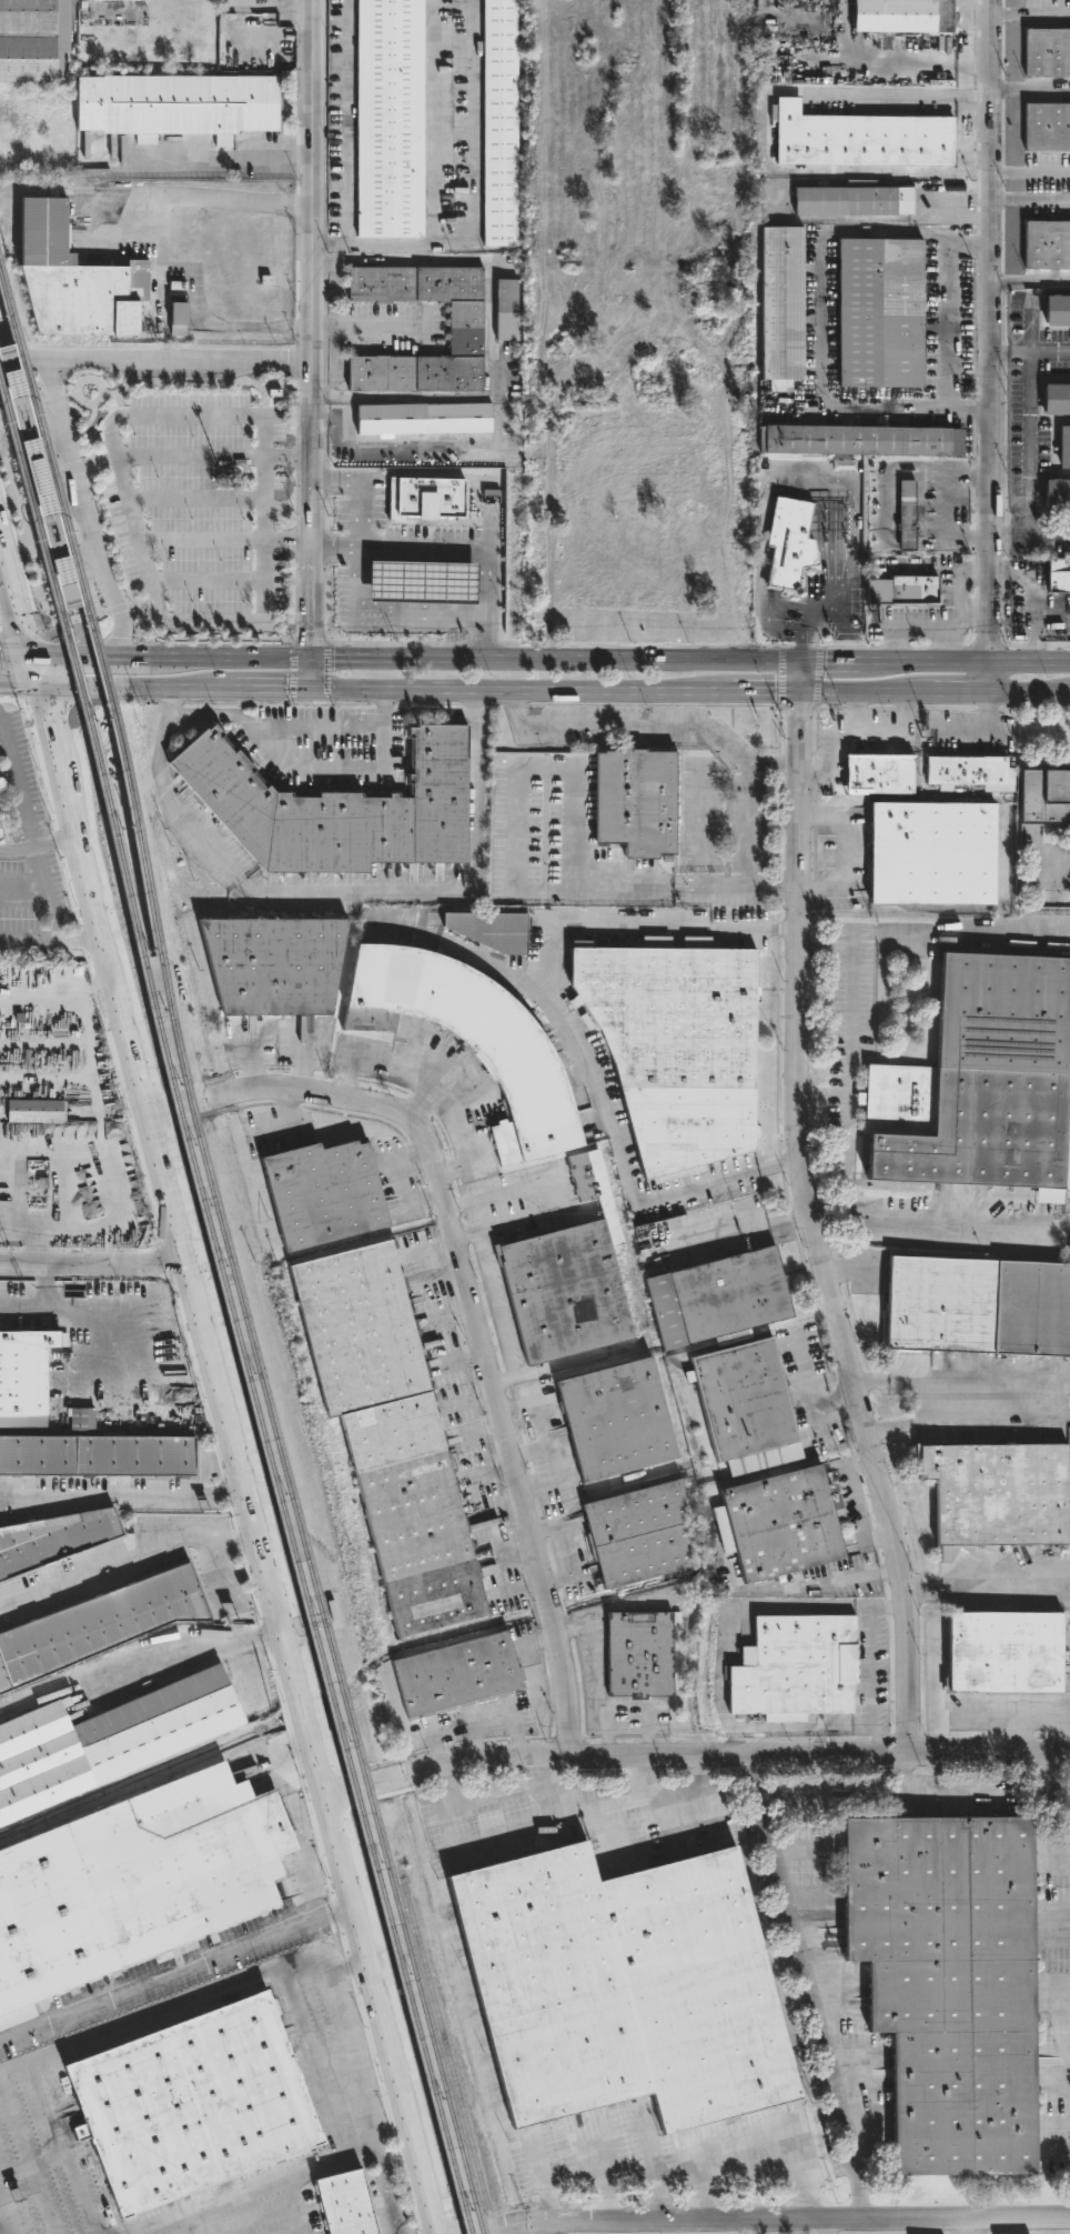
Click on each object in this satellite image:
building: (252, 0)
building: (144, 11)
building: (902, 17)
road: (1030, 17)
building: (771, 20)
building: (33, 41)
building: (1047, 53)
road: (1030, 90)
building: (175, 108)
building: (387, 118)
road: (345, 122)
building: (499, 123)
road: (769, 128)
building: (1047, 128)
building: (859, 139)
road: (472, 140)
road: (223, 159)
road: (1030, 171)
road: (310, 180)
road: (431, 181)
road: (1030, 199)
building: (852, 200)
building: (1046, 244)
road: (155, 252)
building: (70, 279)
road: (1030, 280)
building: (780, 302)
building: (505, 309)
building: (1057, 309)
building: (879, 312)
railway: (9, 314)
road: (819, 317)
building: (179, 318)
road: (949, 323)
road: (366, 328)
building: (464, 329)
road: (489, 331)
road: (989, 348)
road: (1009, 353)
road: (174, 360)
road: (20, 361)
building: (17, 380)
building: (1056, 398)
building: (421, 417)
road: (1061, 420)
building: (856, 439)
road: (1030, 444)
building: (1063, 445)
road: (366, 448)
road: (77, 465)
road: (1059, 475)
road: (825, 485)
road: (123, 489)
railway: (28, 490)
road: (365, 491)
building: (1057, 493)
building: (426, 499)
road: (195, 500)
road: (956, 509)
parking lot: (196, 510)
road: (309, 510)
building: (906, 510)
road: (82, 514)
road: (972, 515)
road: (263, 517)
road: (832, 521)
building: (800, 535)
road: (78, 543)
road: (448, 552)
road: (2, 561)
road: (9, 575)
building: (1059, 578)
building: (423, 581)
gas station: (423, 581)
road: (206, 583)
building: (69, 584)
railway: (83, 588)
building: (377, 591)
railway: (77, 592)
building: (906, 598)
road: (821, 603)
road: (118, 609)
road: (976, 610)
road: (9, 614)
road: (387, 614)
road: (948, 628)
road: (75, 629)
road: (21, 635)
road: (24, 637)
road: (205, 638)
road: (309, 640)
road: (945, 645)
road: (799, 647)
road: (13, 655)
traffic signals: (28, 657)
road: (65, 658)
road: (134, 660)
road: (236, 660)
traffic signals: (309, 661)
road: (688, 662)
traffic signals: (802, 663)
road: (291, 670)
road: (325, 670)
road: (31, 673)
road: (309, 677)
road: (779, 678)
road: (817, 678)
road: (18, 689)
traffic signals: (36, 690)
road: (103, 691)
road: (205, 692)
road: (273, 693)
traffic signals: (309, 693)
road: (688, 694)
traffic signals: (802, 695)
road: (7, 701)
road: (199, 701)
road: (43, 702)
road: (1039, 708)
road: (797, 709)
road: (854, 714)
road: (623, 722)
road: (980, 733)
road: (852, 734)
road: (3, 750)
road: (55, 764)
road: (774, 764)
building: (965, 770)
road: (302, 771)
building: (870, 774)
building: (1, 782)
road: (16, 784)
building: (0, 791)
building: (1044, 797)
building: (633, 801)
building: (334, 809)
road: (515, 820)
road: (746, 825)
road: (701, 829)
building: (0, 833)
building: (931, 853)
road: (856, 855)
road: (38, 870)
road: (736, 885)
road: (343, 895)
road: (755, 929)
building: (488, 930)
road: (865, 933)
road: (972, 933)
road: (52, 939)
building: (270, 965)
building: (475, 1040)
building: (674, 1049)
road: (584, 1051)
road: (301, 1056)
road: (248, 1060)
road: (850, 1076)
road: (432, 1082)
building: (980, 1085)
road: (824, 1093)
road: (418, 1098)
building: (34, 1111)
road: (407, 1154)
road: (779, 1164)
road: (499, 1194)
building: (320, 1195)
road: (418, 1196)
road: (811, 1212)
road: (532, 1216)
road: (832, 1220)
road: (961, 1224)
road: (464, 1234)
road: (97, 1263)
railway: (240, 1293)
building: (562, 1294)
building: (719, 1300)
road: (39, 1301)
road: (470, 1303)
road: (494, 1304)
building: (977, 1309)
road: (226, 1359)
road: (802, 1372)
road: (978, 1375)
building: (26, 1380)
road: (502, 1381)
road: (857, 1389)
parking lot: (807, 1392)
road: (820, 1400)
building: (745, 1407)
railway: (260, 1415)
road: (816, 1417)
road: (968, 1419)
building: (614, 1420)
road: (543, 1431)
building: (386, 1435)
building: (97, 1452)
building: (996, 1492)
road: (124, 1496)
building: (778, 1524)
building: (636, 1533)
road: (263, 1535)
building: (51, 1537)
road: (139, 1554)
road: (222, 1575)
road: (889, 1606)
road: (598, 1614)
building: (97, 1623)
building: (1003, 1651)
building: (637, 1654)
road: (141, 1662)
building: (794, 1667)
road: (598, 1669)
building: (460, 1676)
road: (872, 1680)
road: (788, 1725)
road: (647, 1731)
building: (104, 1739)
road: (818, 1739)
road: (697, 1755)
road: (698, 1773)
road: (908, 1773)
road: (644, 1777)
road: (889, 1794)
road: (480, 1800)
road: (604, 1802)
road: (1052, 1857)
building: (134, 1884)
road: (1053, 1916)
road: (179, 1972)
building: (947, 1984)
road: (810, 1985)
building: (619, 1987)
road: (1054, 1992)
road: (191, 1998)
railway: (445, 2051)
road: (1053, 2052)
road: (1053, 2075)
road: (366, 2103)
building: (190, 2104)
road: (1053, 2140)
road: (753, 2142)
road: (60, 2150)
road: (653, 2162)
road: (27, 2163)
road: (30, 2163)
road: (674, 2163)
road: (598, 2170)
road: (542, 2178)
road: (269, 2187)
building: (344, 2203)
road: (774, 2221)
road: (822, 2226)
road: (747, 2227)
road: (1, 2228)
road: (553, 2228)

